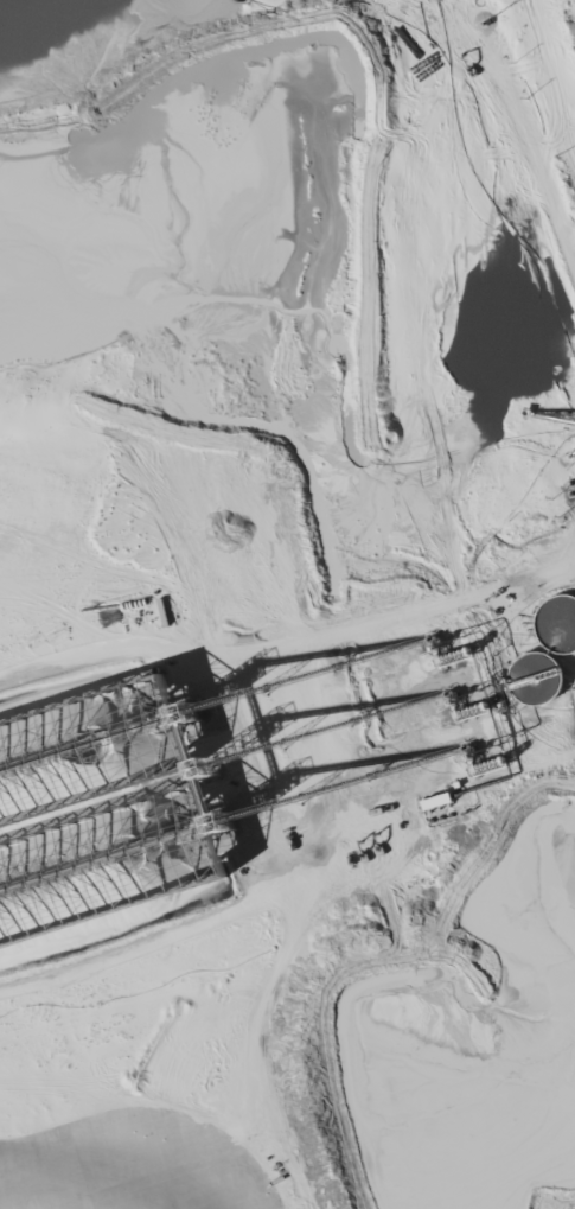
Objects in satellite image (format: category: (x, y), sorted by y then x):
road: (164, 1172)

